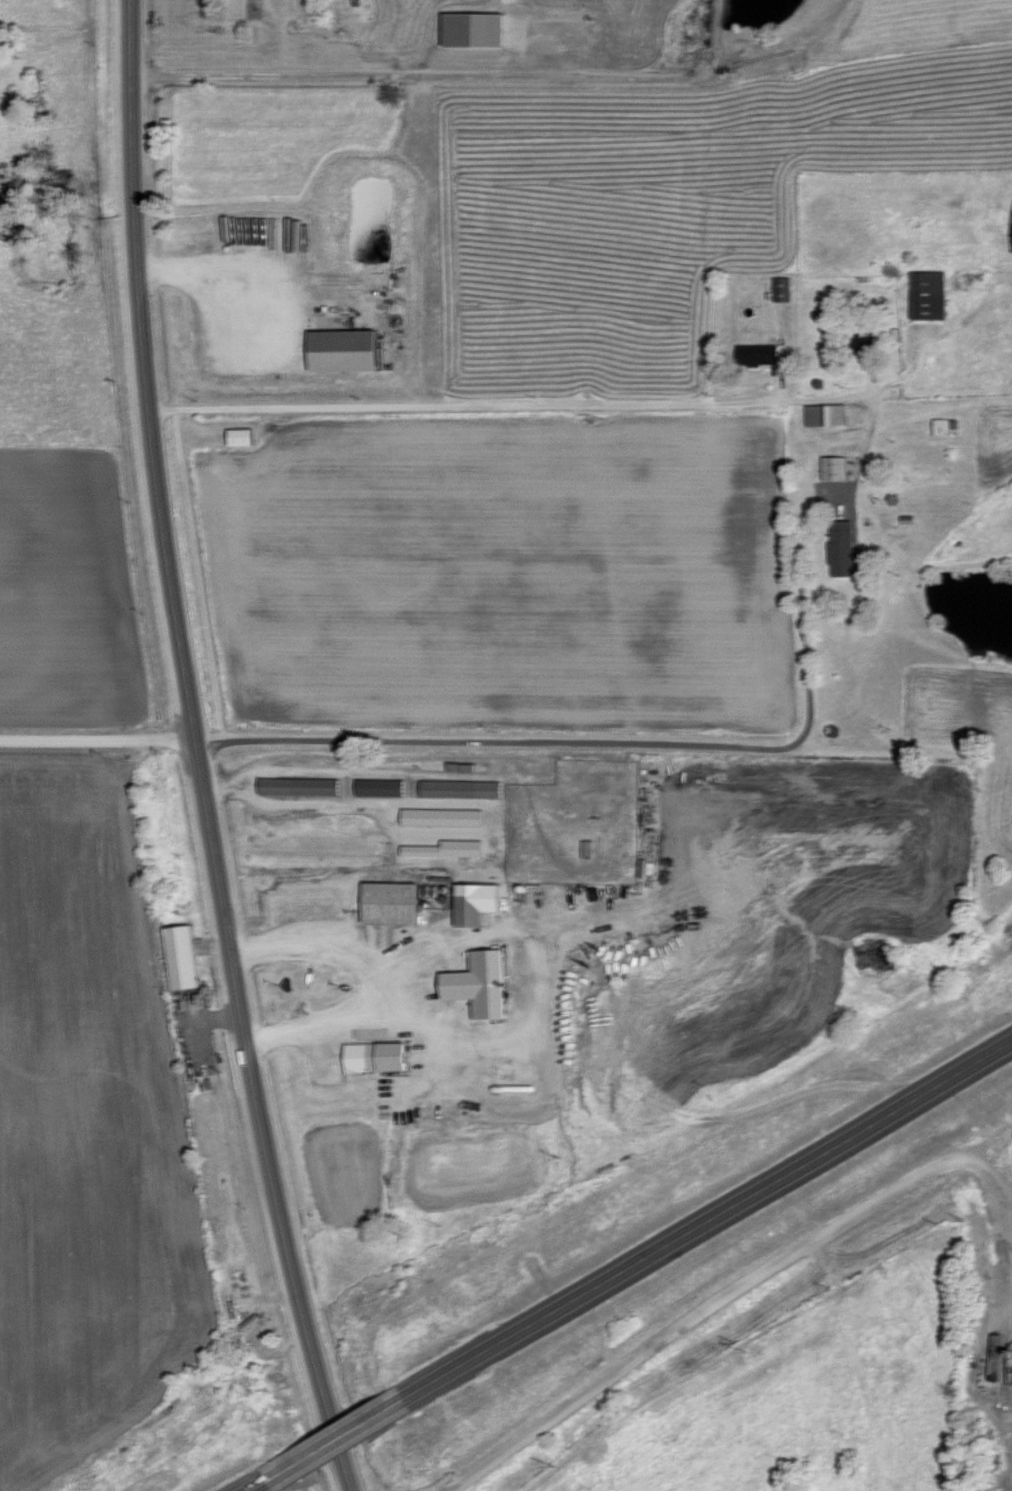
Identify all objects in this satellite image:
building: (481, 30)
road: (220, 51)
road: (460, 80)
building: (786, 290)
building: (934, 296)
building: (350, 351)
building: (760, 355)
road: (571, 406)
building: (829, 415)
building: (947, 426)
building: (247, 437)
building: (838, 469)
building: (845, 551)
road: (97, 740)
road: (530, 742)
road: (195, 752)
building: (303, 786)
building: (384, 788)
building: (465, 789)
building: (446, 817)
building: (451, 849)
building: (397, 902)
building: (484, 902)
building: (186, 957)
road: (368, 982)
building: (484, 984)
building: (381, 1056)
road: (999, 1204)
road: (708, 1223)
road: (722, 1299)
building: (999, 1358)
road: (342, 1440)
road: (268, 1484)

